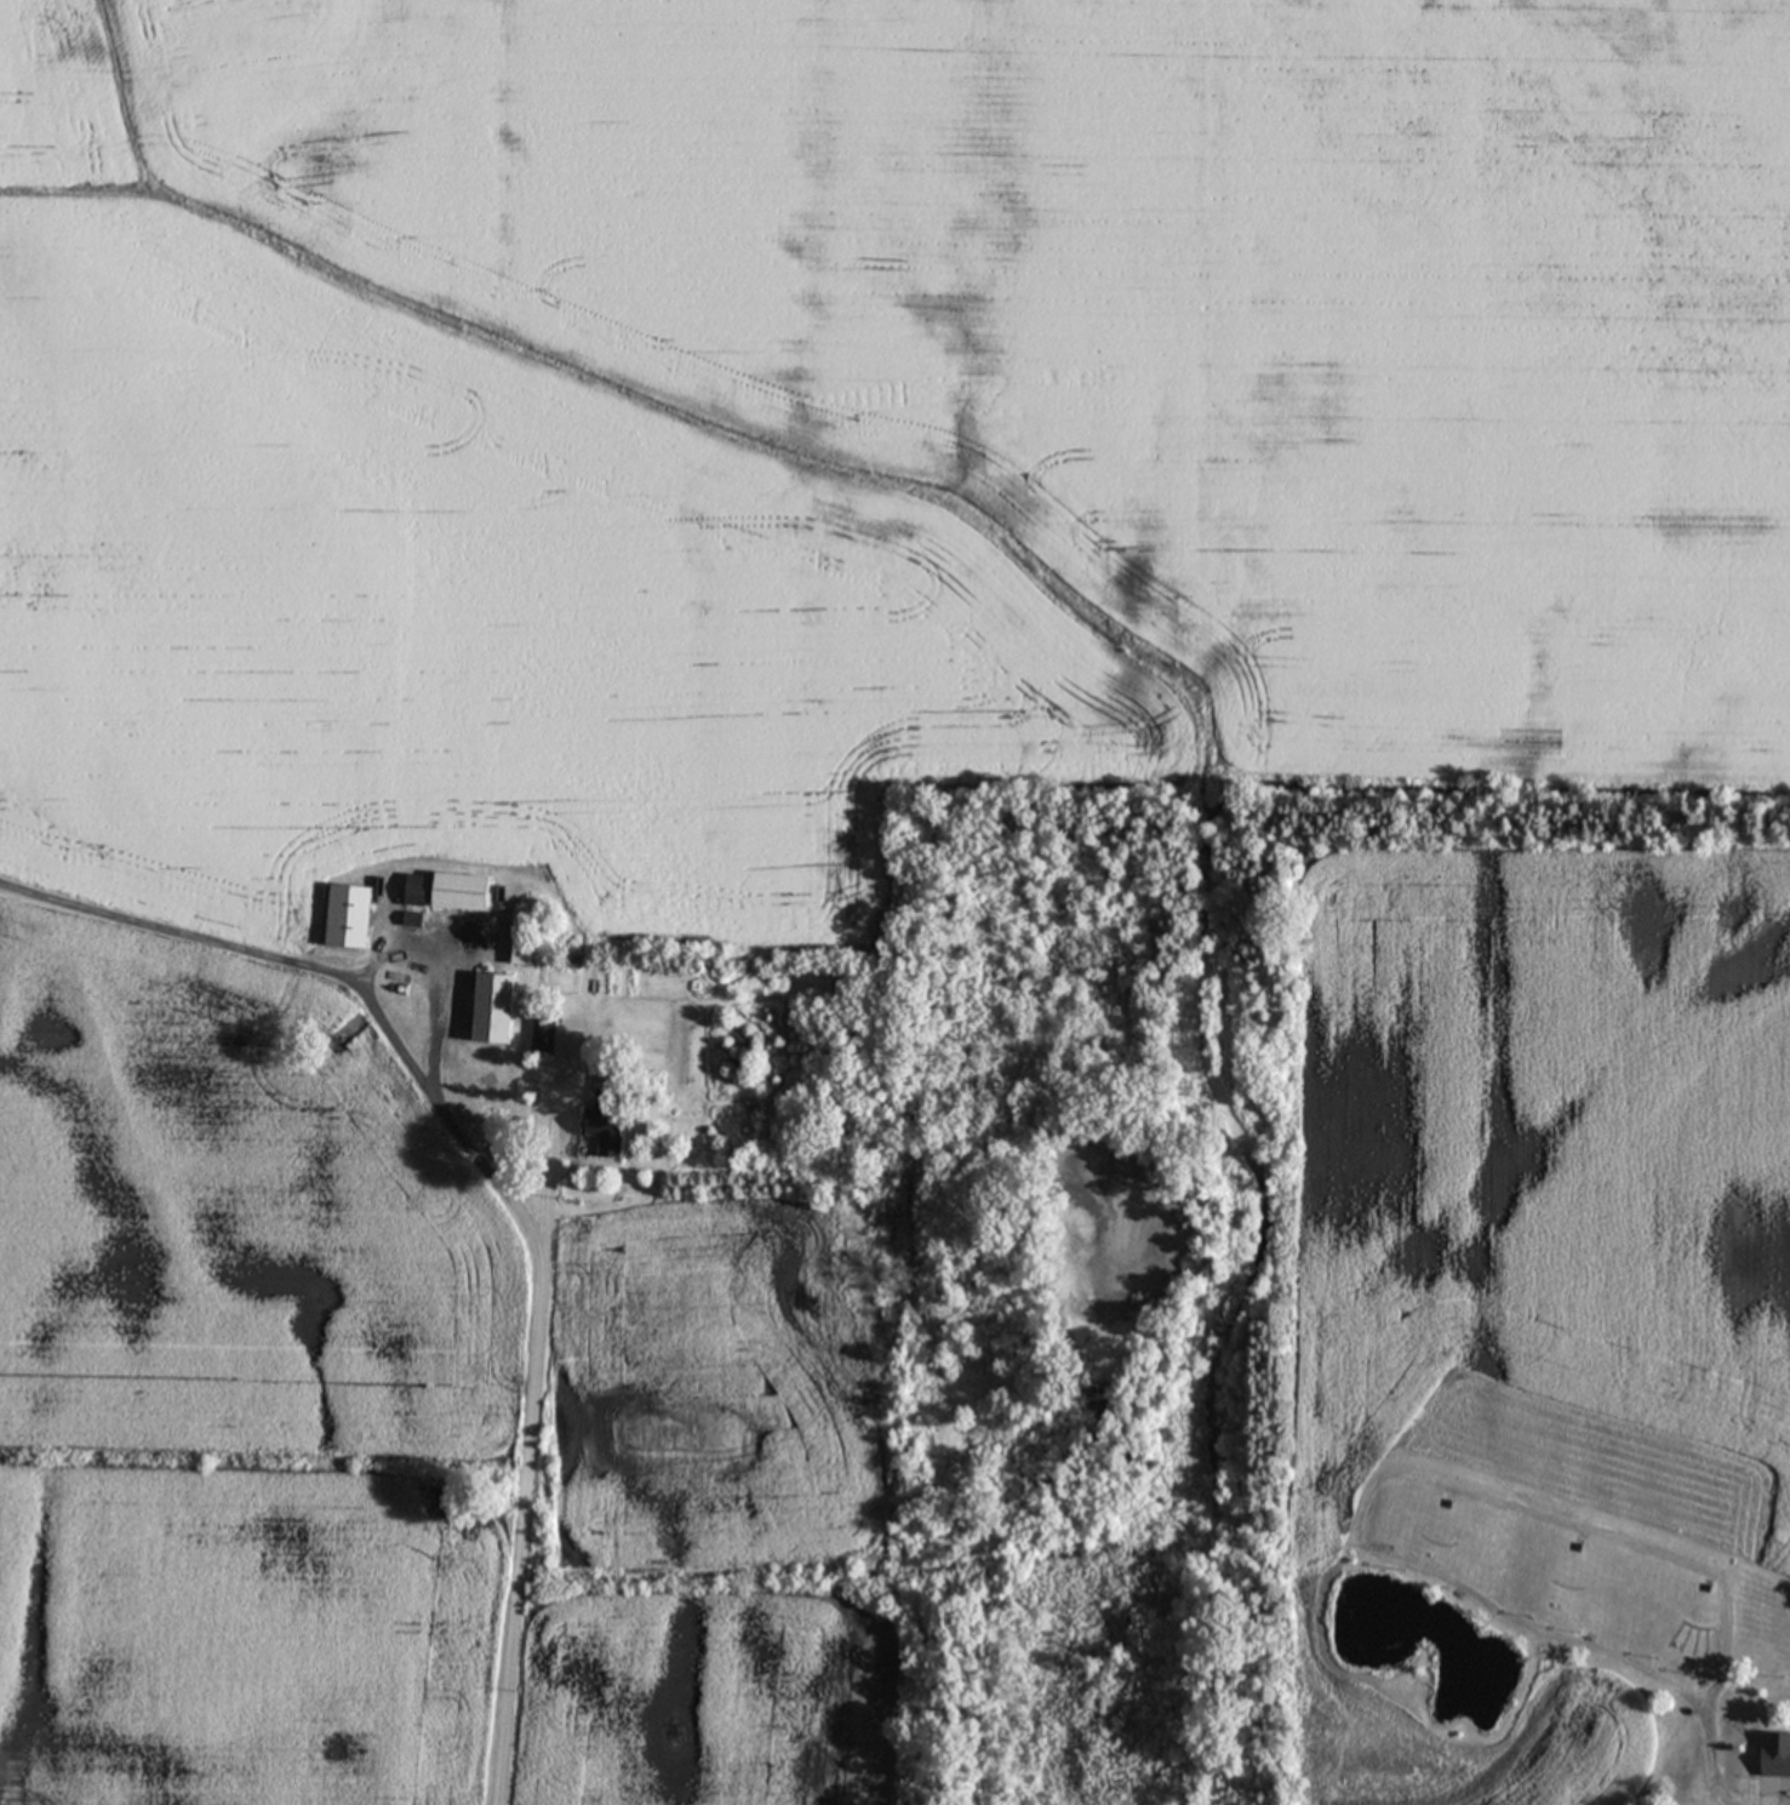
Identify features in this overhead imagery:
building: (454, 893)
building: (354, 918)
building: (417, 921)
building: (530, 939)
building: (499, 1010)
building: (547, 1038)
building: (612, 1120)
road: (551, 1144)
road: (504, 1190)
building: (1769, 1755)

